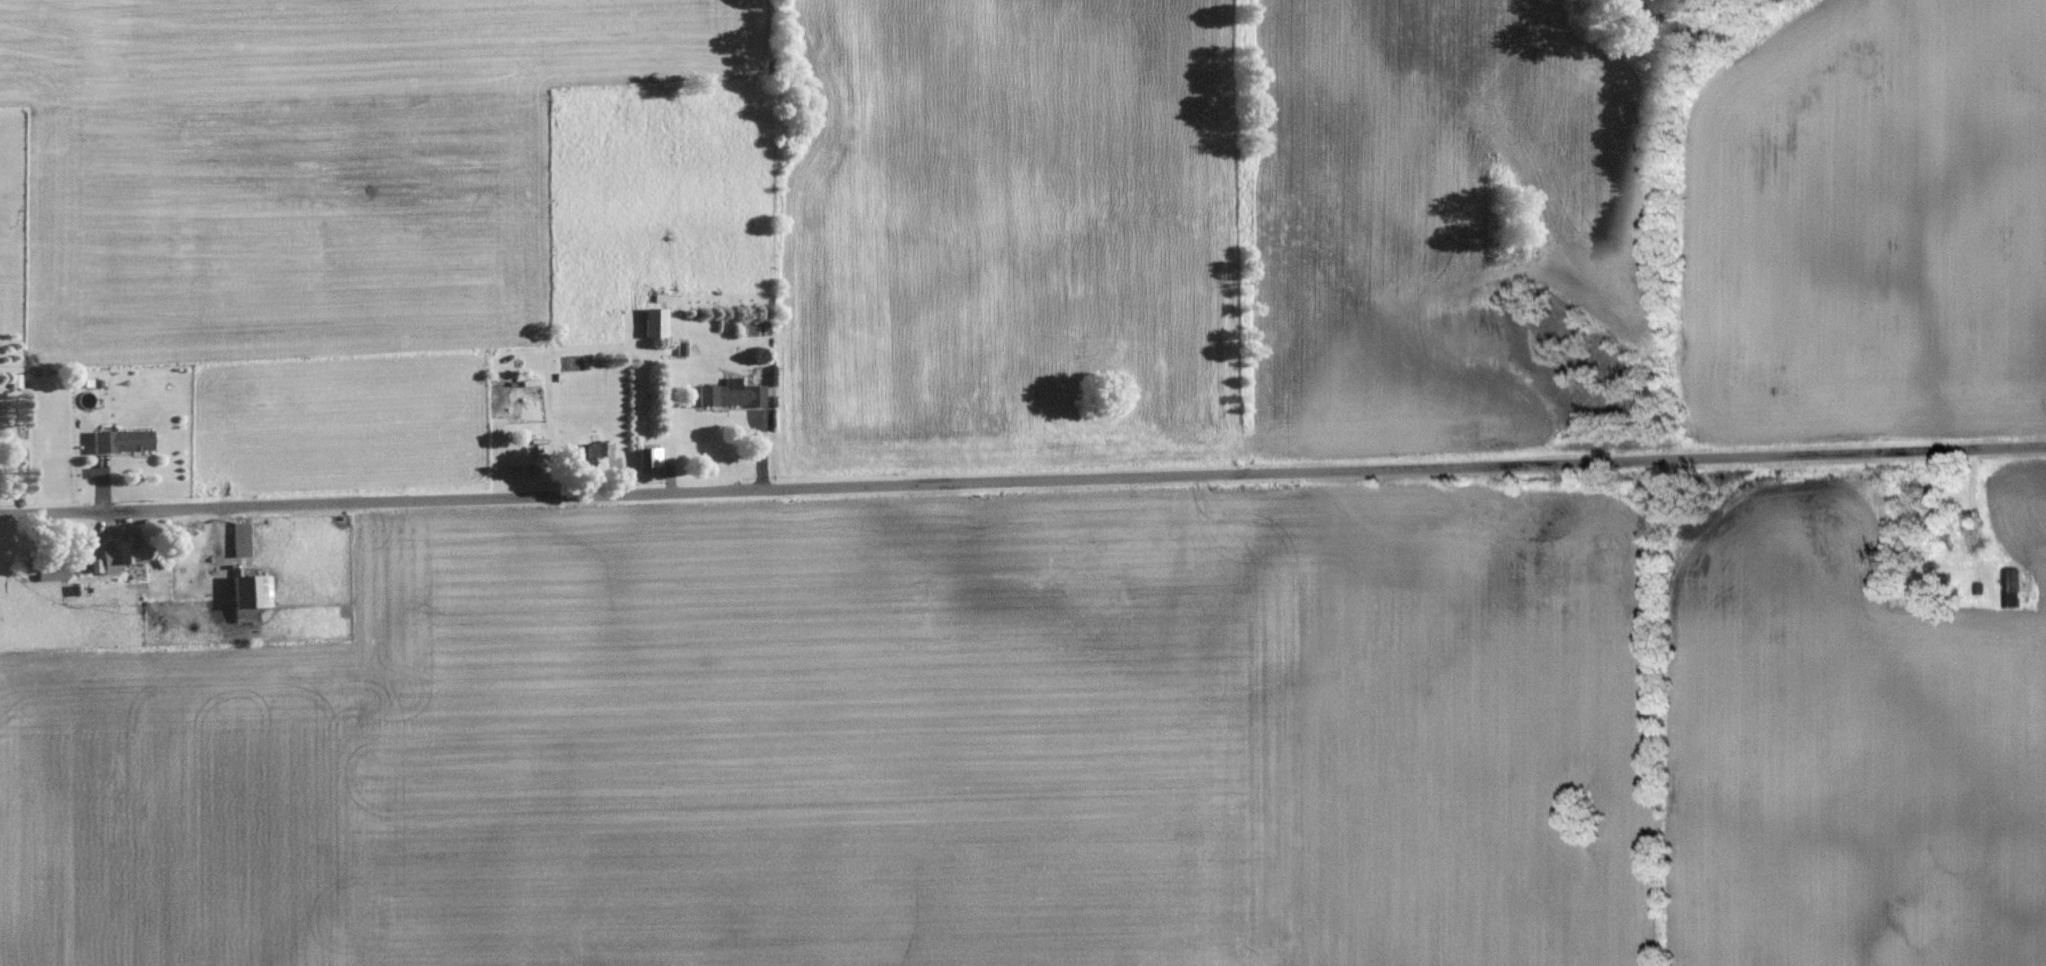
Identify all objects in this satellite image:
building: (653, 322)
building: (727, 394)
building: (535, 438)
building: (117, 441)
building: (581, 455)
building: (647, 457)
road: (1022, 476)
building: (115, 558)
building: (47, 573)
building: (2008, 587)
building: (251, 592)

